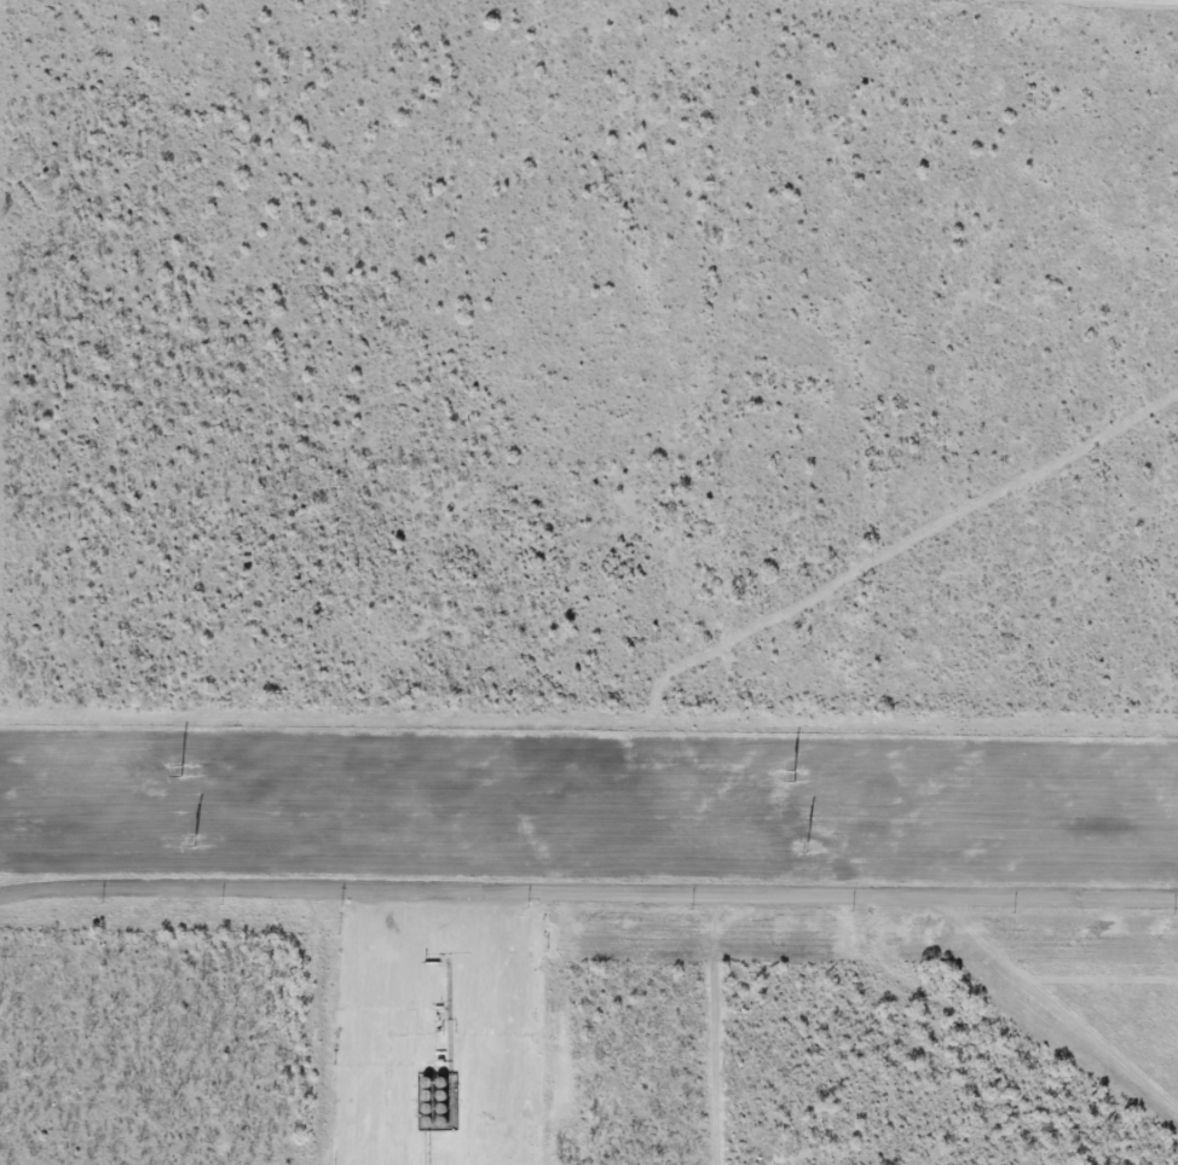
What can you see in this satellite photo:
power tower: (181, 771)
power tower: (793, 777)
power tower: (197, 842)
power tower: (807, 848)
road: (588, 900)
road: (399, 1032)

